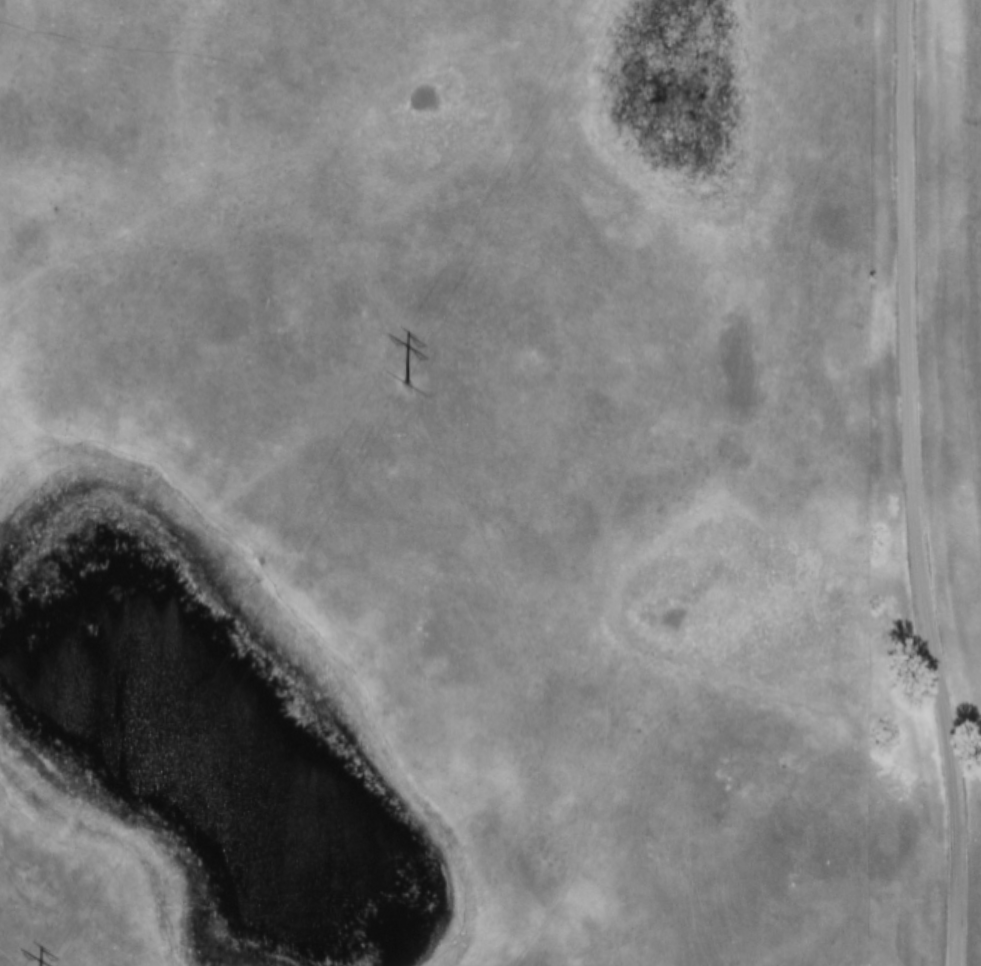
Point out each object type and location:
power tower: (399, 371)
road: (915, 484)

